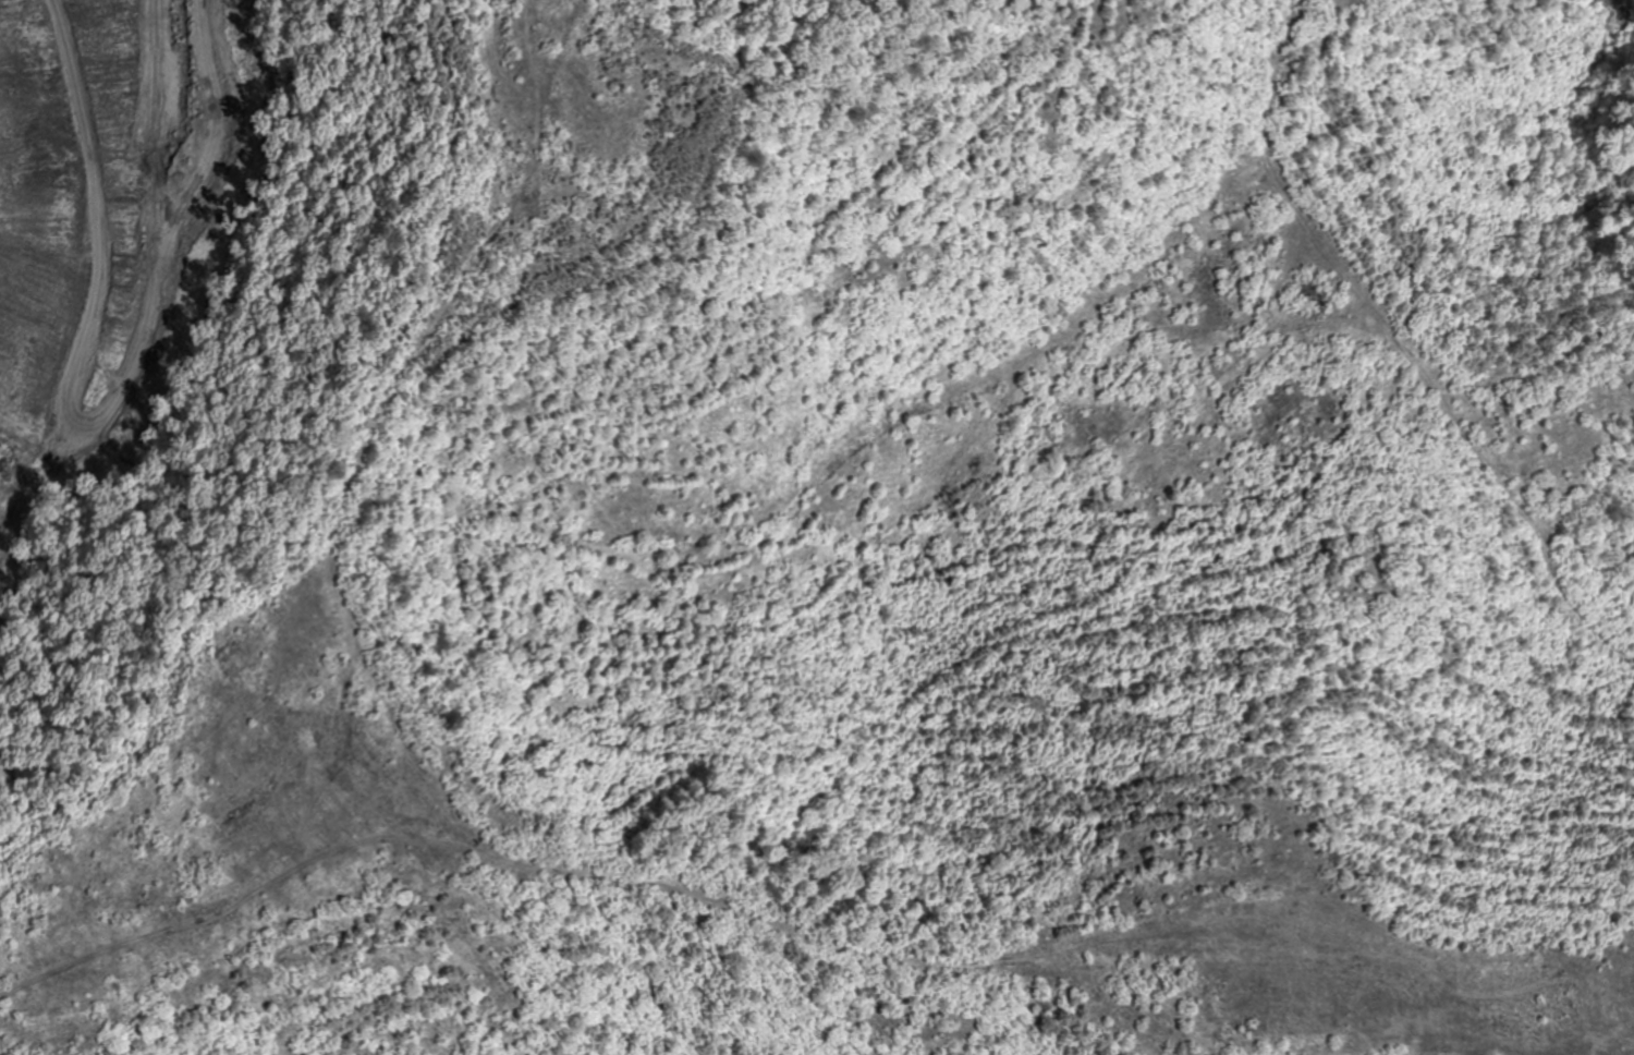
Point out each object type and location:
quarry: (57, 131)

